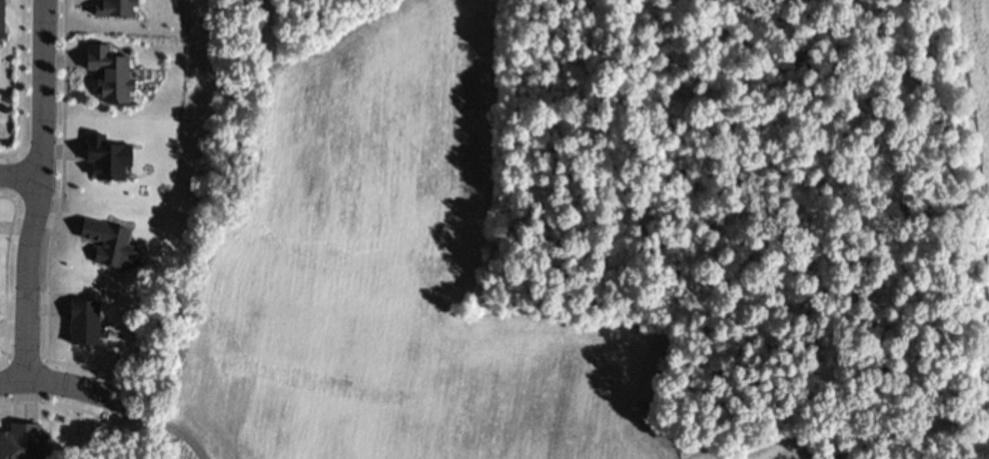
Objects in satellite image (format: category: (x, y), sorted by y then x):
building: (6, 22)
building: (118, 79)
road: (21, 180)
road: (41, 191)
road: (57, 387)
road: (160, 425)
building: (27, 444)

